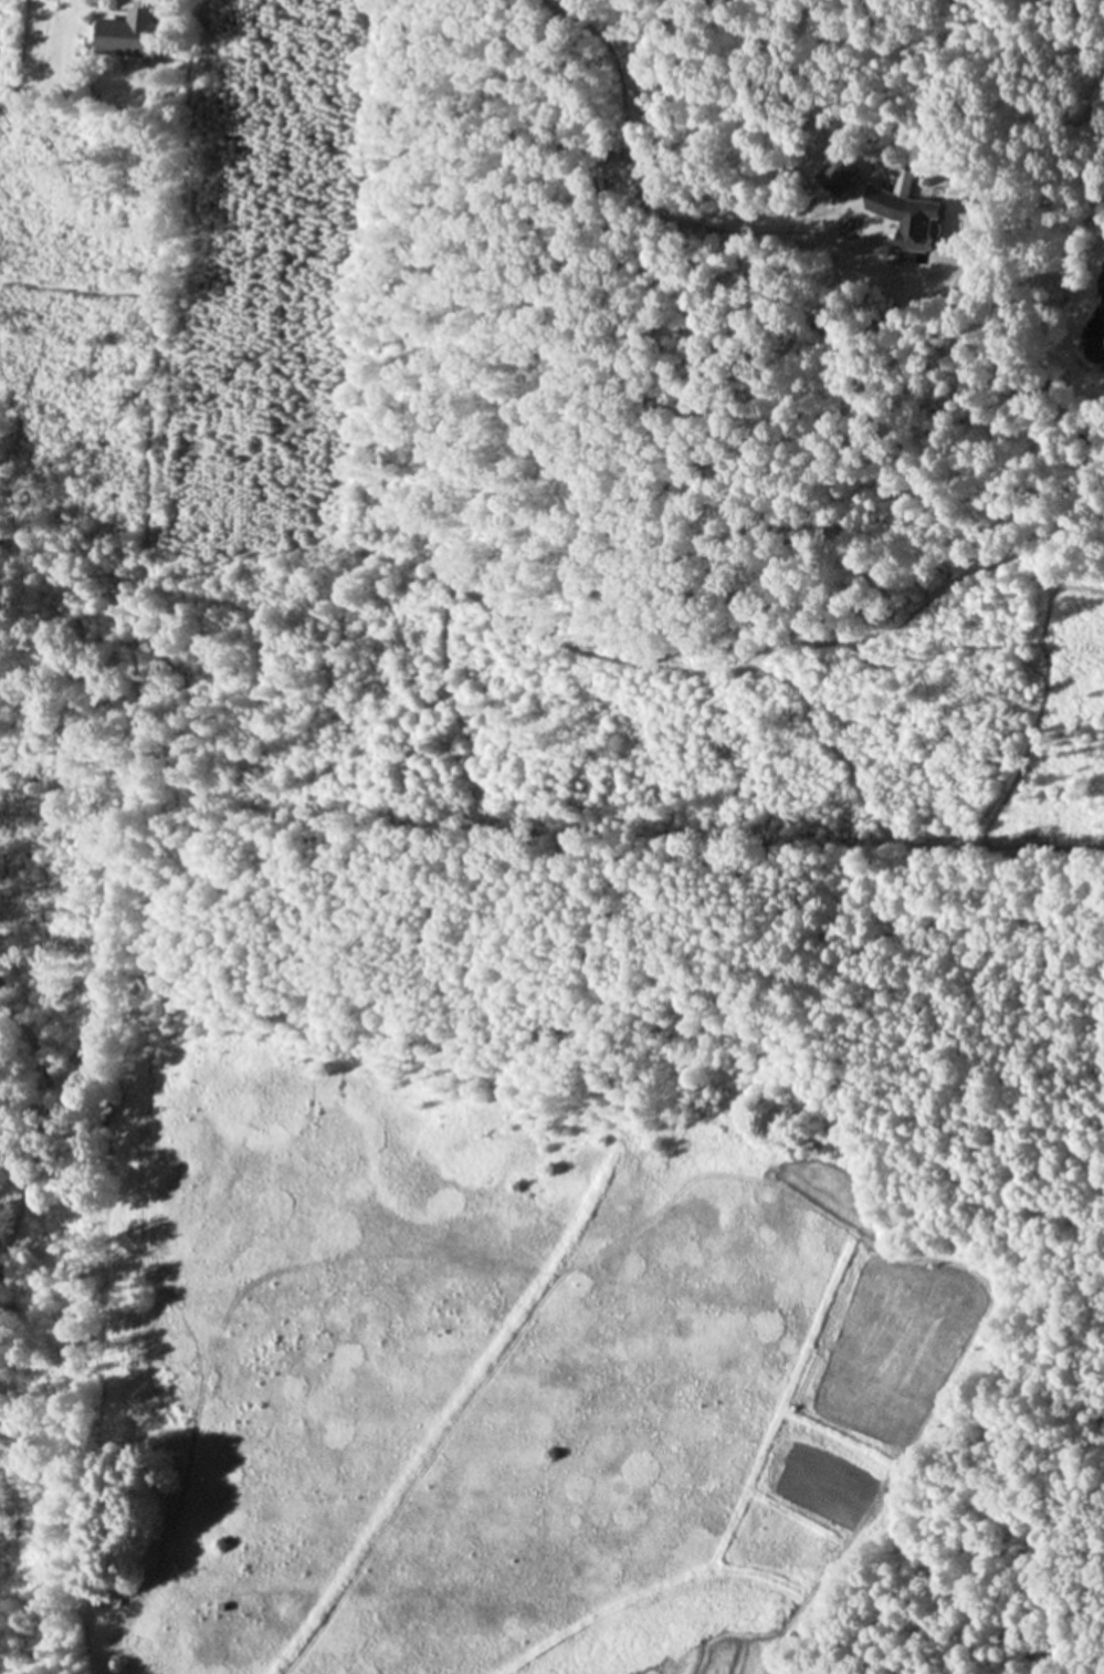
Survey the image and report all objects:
building: (129, 33)
road: (644, 172)
building: (906, 218)

